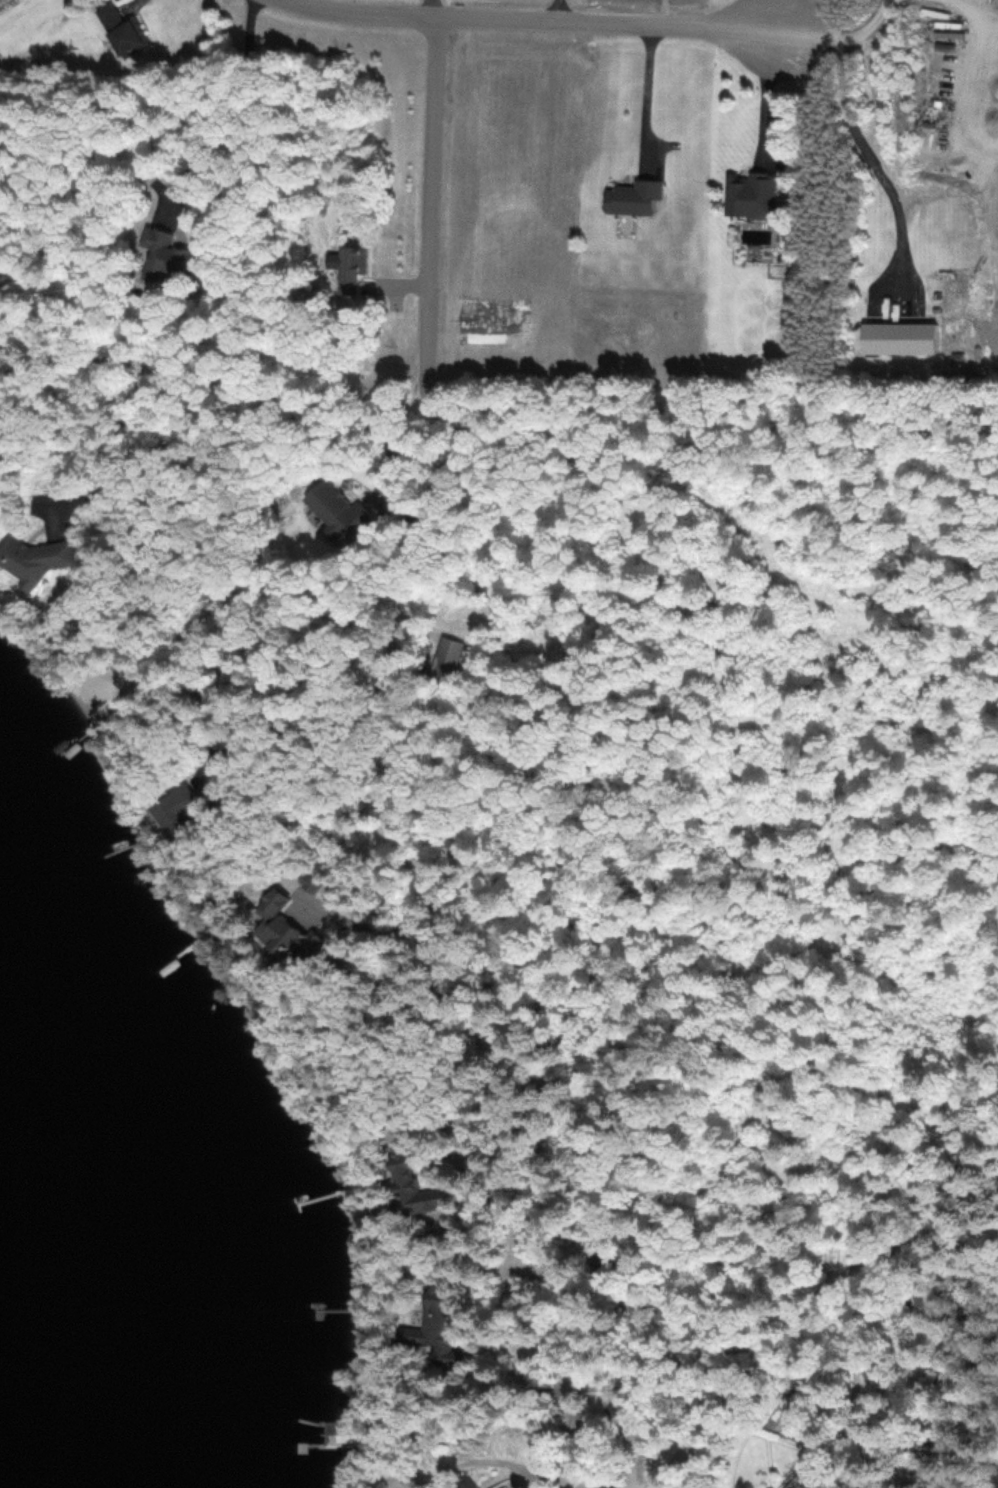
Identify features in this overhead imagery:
road: (532, 18)
building: (121, 31)
quarry: (958, 121)
building: (752, 196)
building: (634, 199)
road: (424, 248)
building: (157, 255)
building: (354, 268)
road: (492, 463)
building: (338, 510)
building: (33, 558)
building: (448, 658)
building: (177, 812)
road: (414, 875)
building: (288, 930)
building: (411, 1179)
road: (807, 1303)
pier: (310, 1417)
building: (338, 1430)
pier: (311, 1440)
road: (577, 1477)
building: (463, 1483)
road: (644, 1483)
building: (445, 1487)

